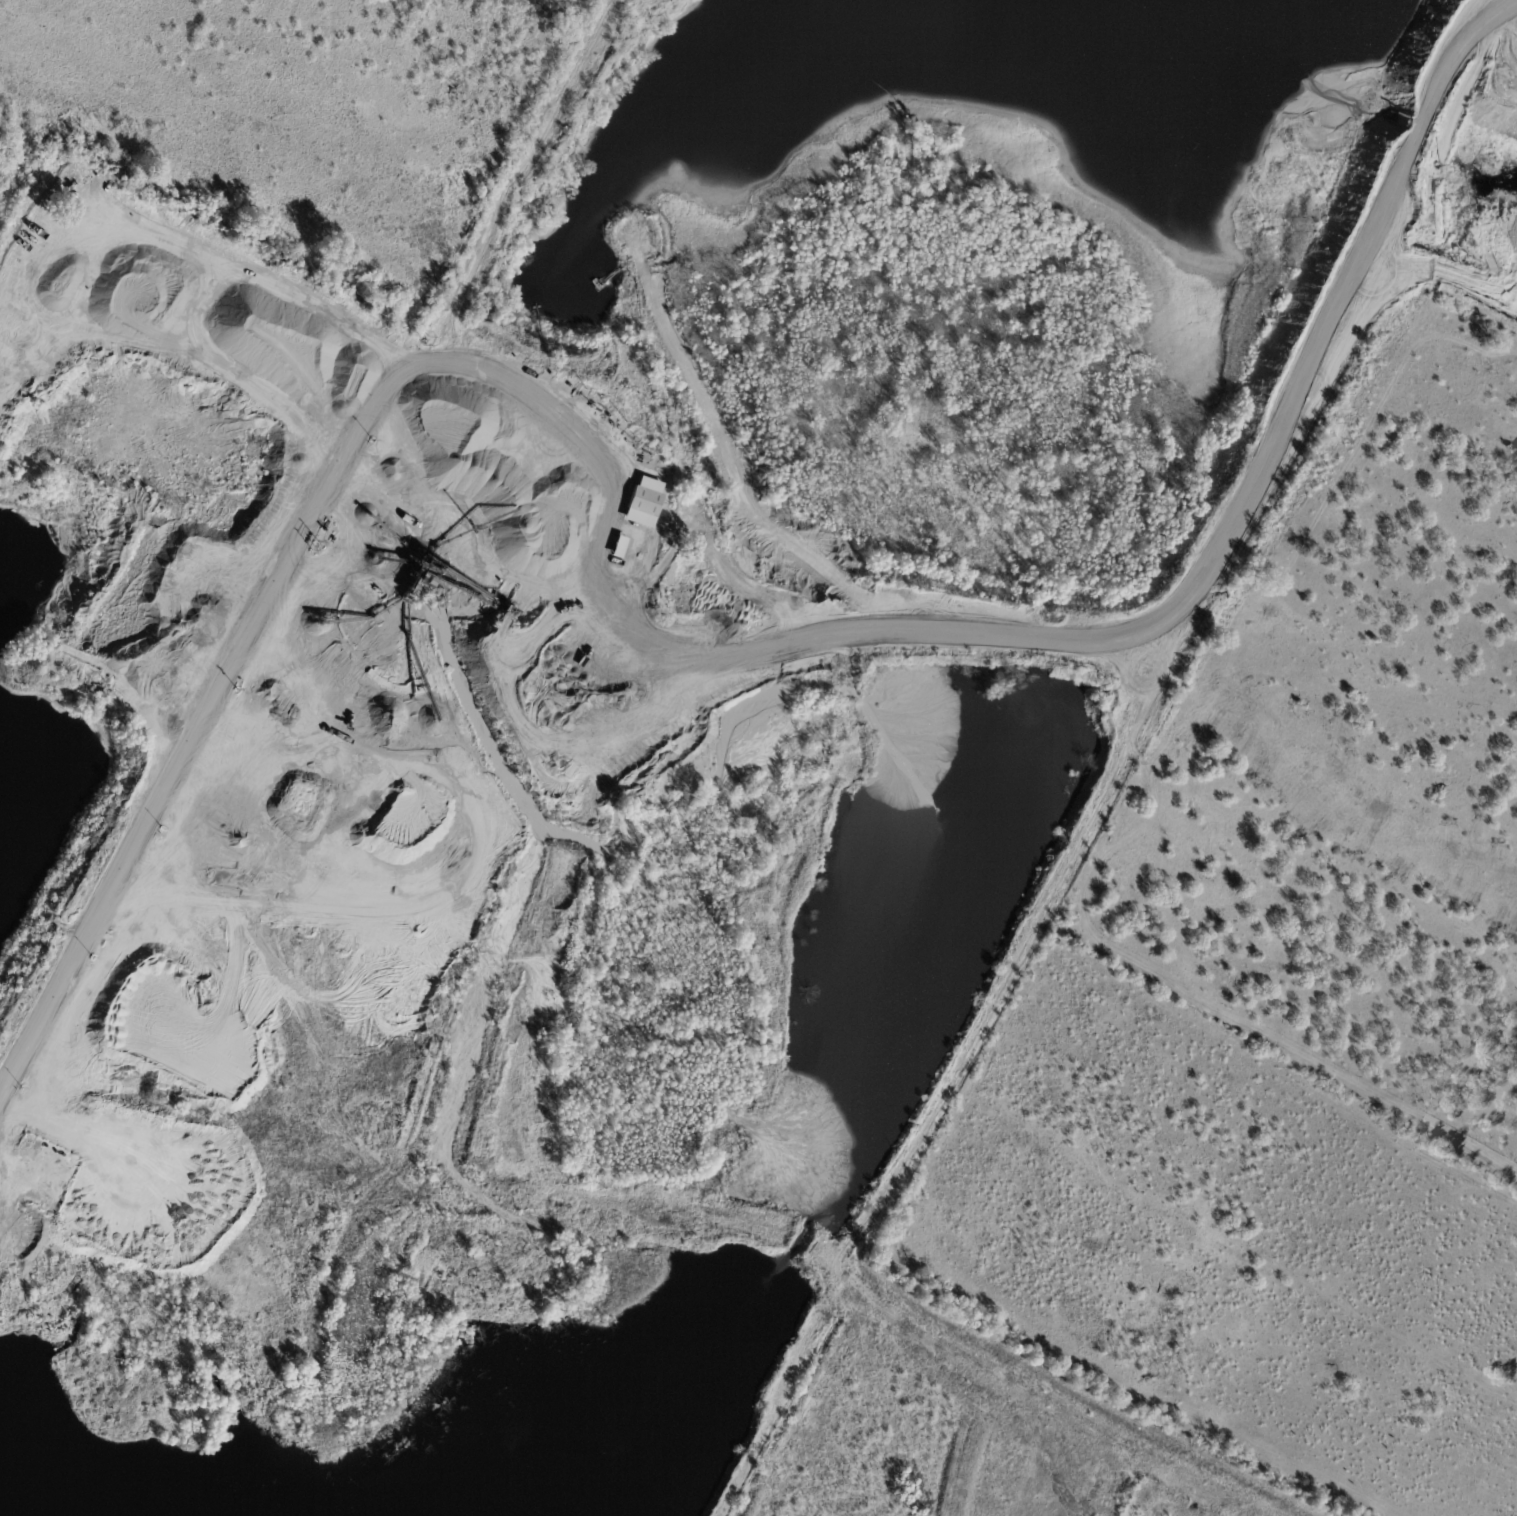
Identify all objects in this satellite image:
building: (646, 502)
building: (618, 547)
road: (184, 759)

